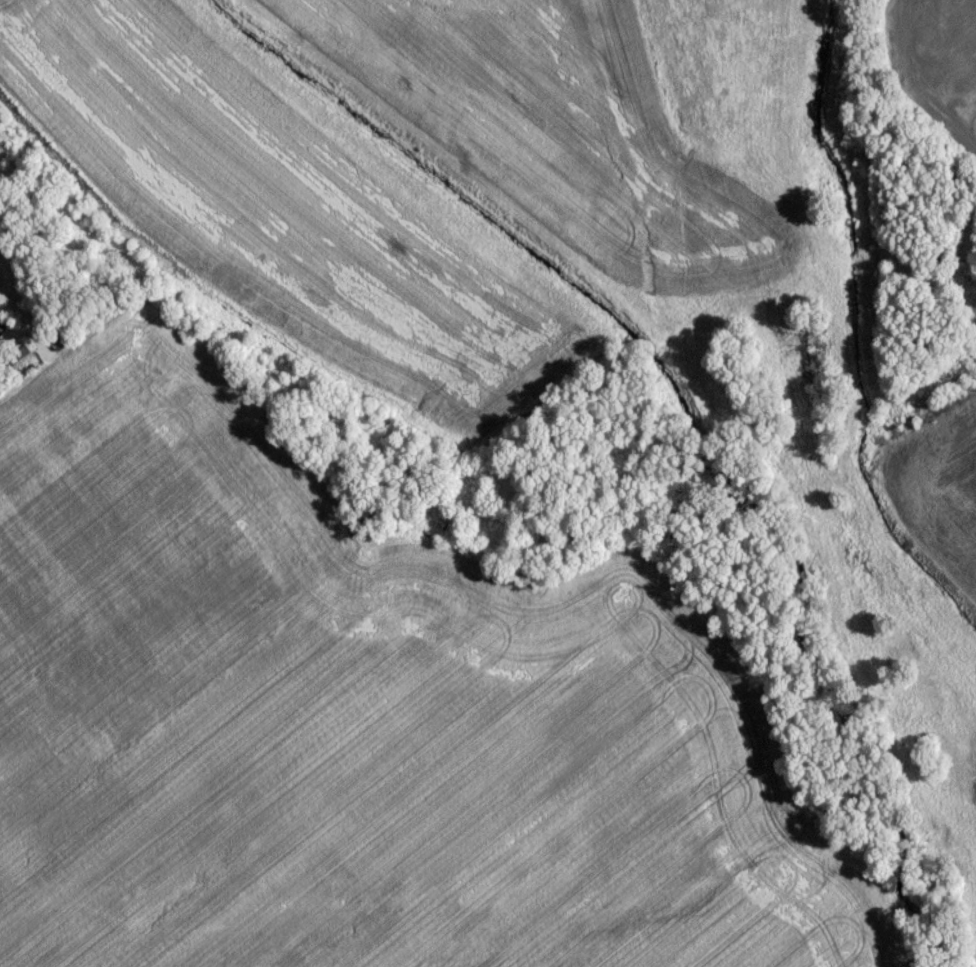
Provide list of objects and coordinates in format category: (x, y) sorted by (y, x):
road: (28, 280)

